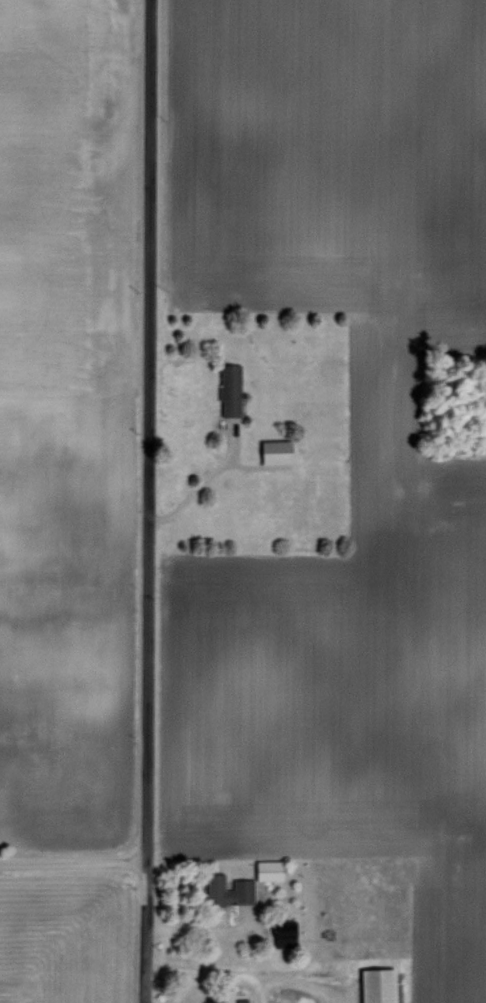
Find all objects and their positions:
crop: (325, 159)
building: (228, 389)
building: (274, 451)
road: (198, 482)
road: (145, 501)
crop: (345, 706)
road: (71, 860)
building: (267, 868)
building: (227, 889)
road: (222, 929)
building: (281, 931)
road: (242, 975)

